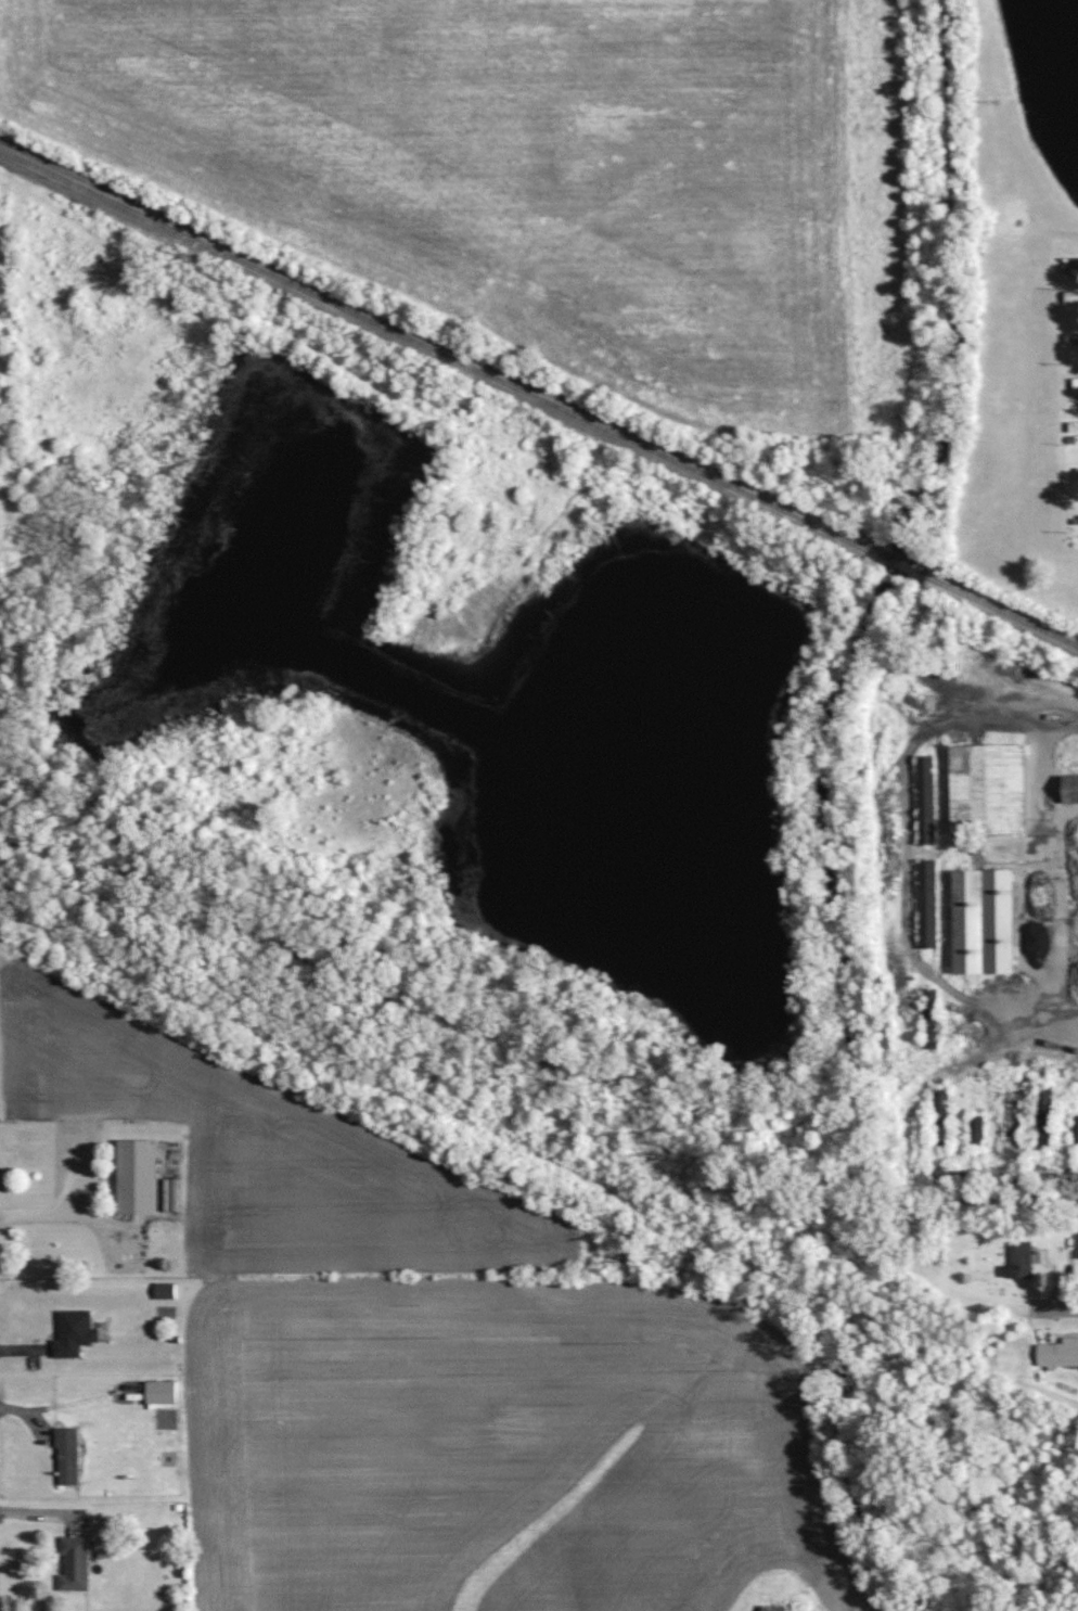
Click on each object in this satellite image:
building: (1069, 296)
building: (1074, 381)
railway: (538, 396)
building: (1071, 424)
building: (1077, 472)
building: (1066, 788)
building: (984, 789)
building: (978, 921)
road: (1037, 1058)
building: (942, 1097)
building: (131, 1177)
building: (1016, 1261)
road: (1061, 1301)
building: (73, 1335)
building: (1066, 1352)
building: (157, 1391)
building: (65, 1455)
building: (70, 1561)
building: (772, 1607)

